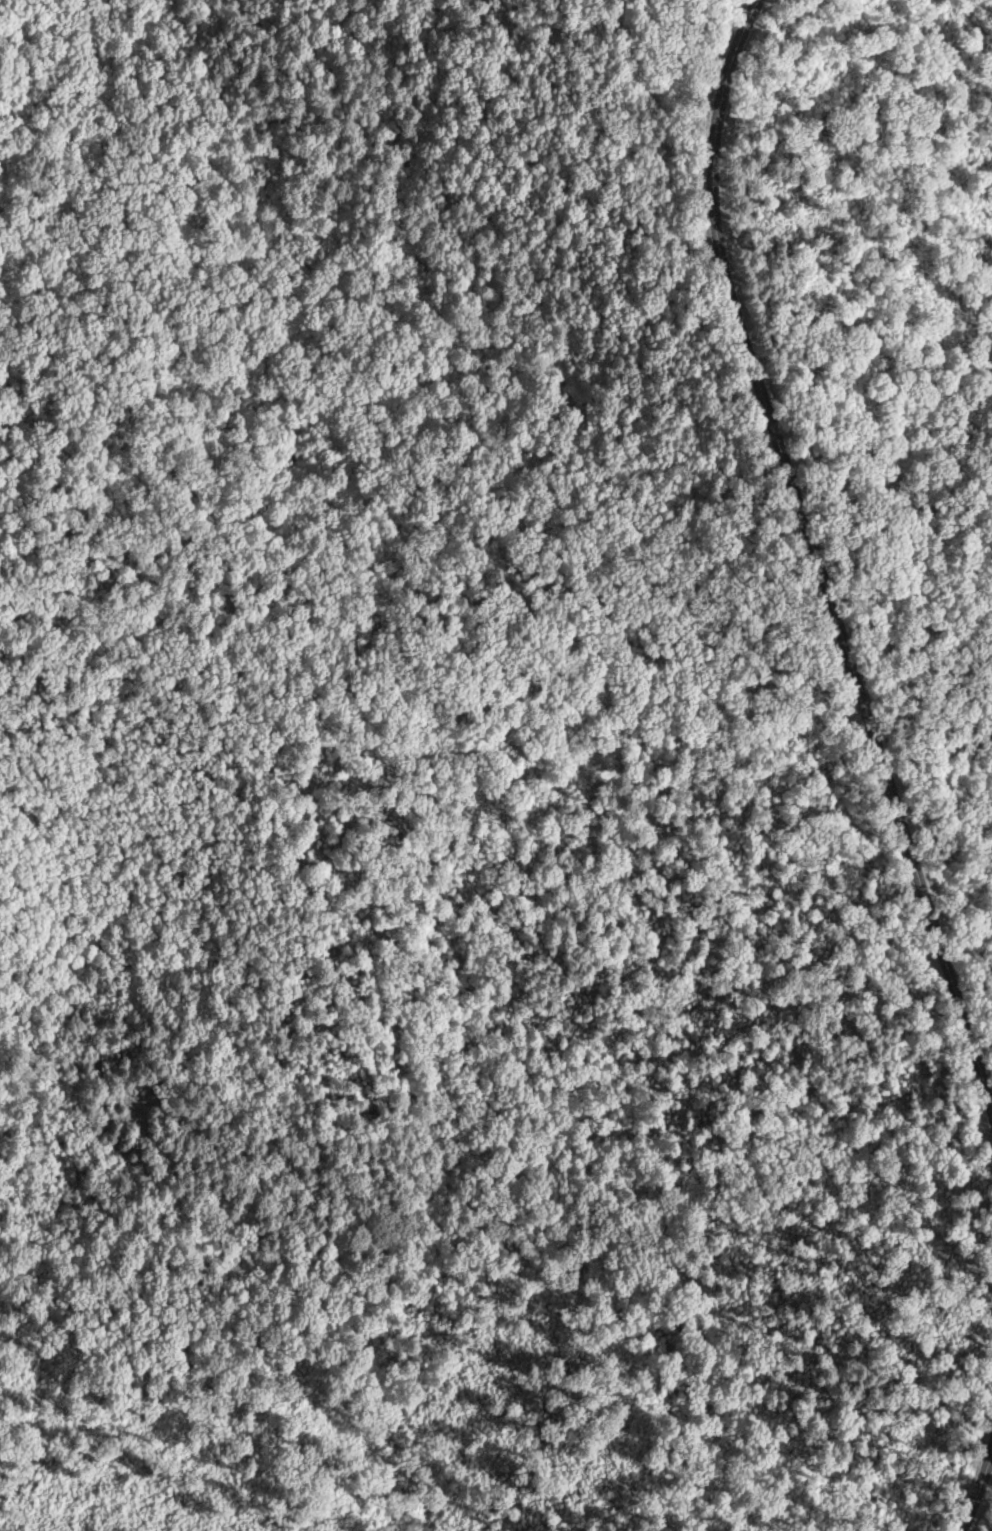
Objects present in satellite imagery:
road: (812, 554)
road: (512, 760)
road: (976, 1489)

